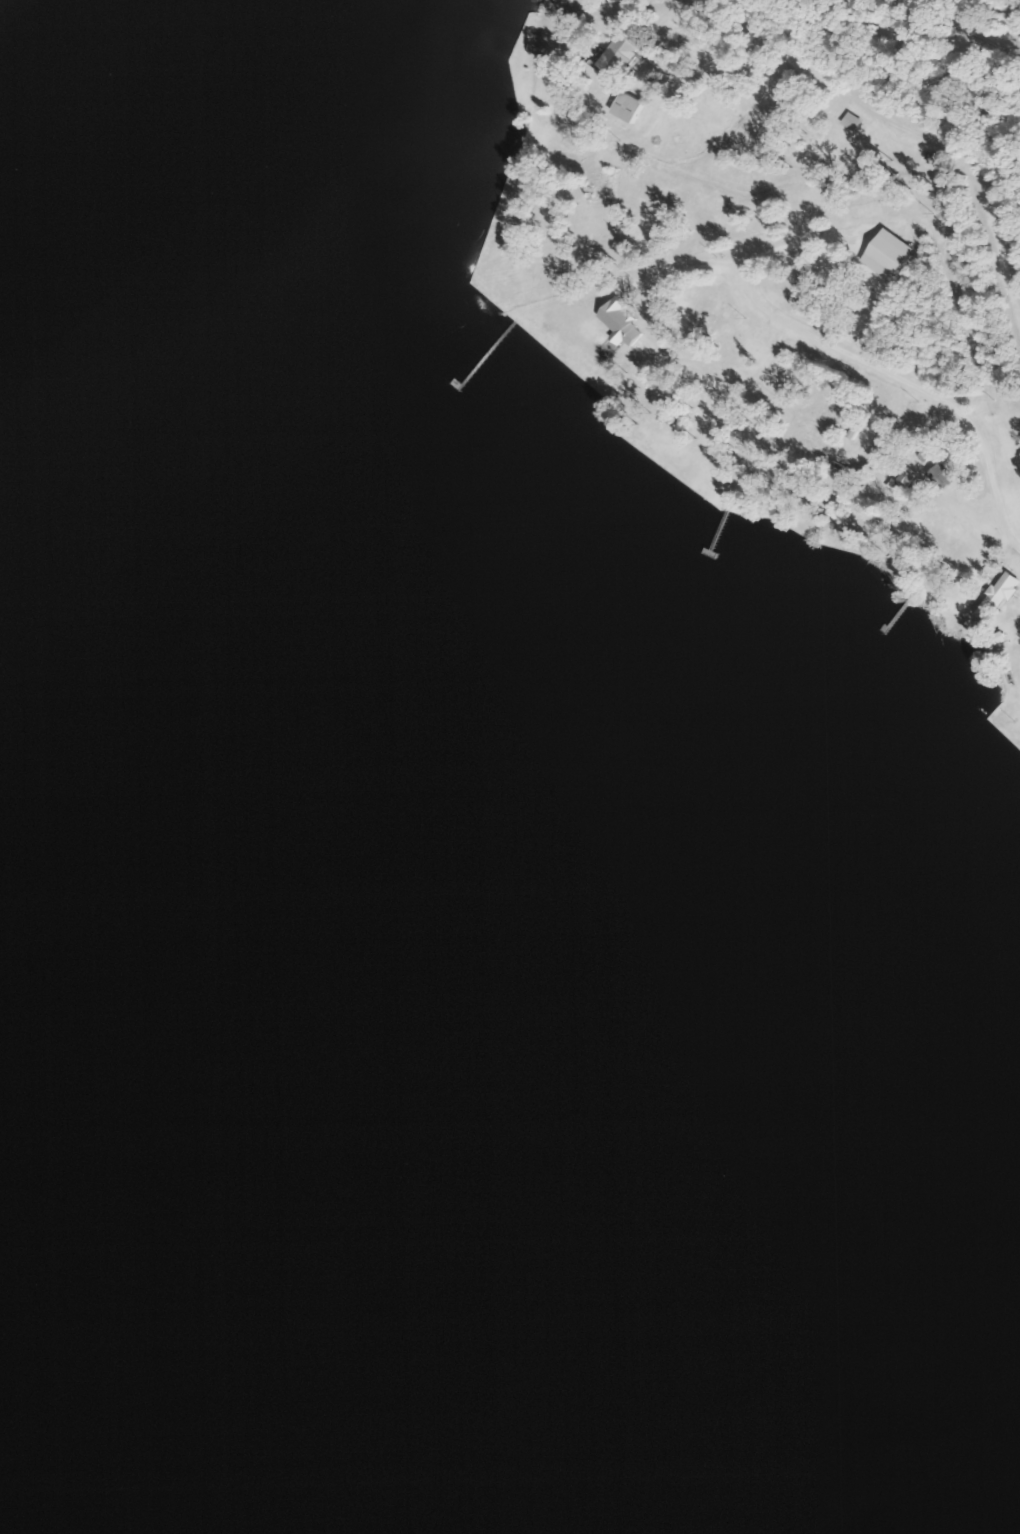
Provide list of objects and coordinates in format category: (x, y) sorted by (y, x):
road: (934, 45)
building: (613, 57)
building: (715, 60)
building: (624, 108)
building: (850, 122)
building: (598, 189)
road: (935, 333)
building: (938, 477)
building: (900, 482)
building: (1019, 588)
building: (994, 597)
building: (117, 681)
building: (249, 836)
building: (63, 838)

